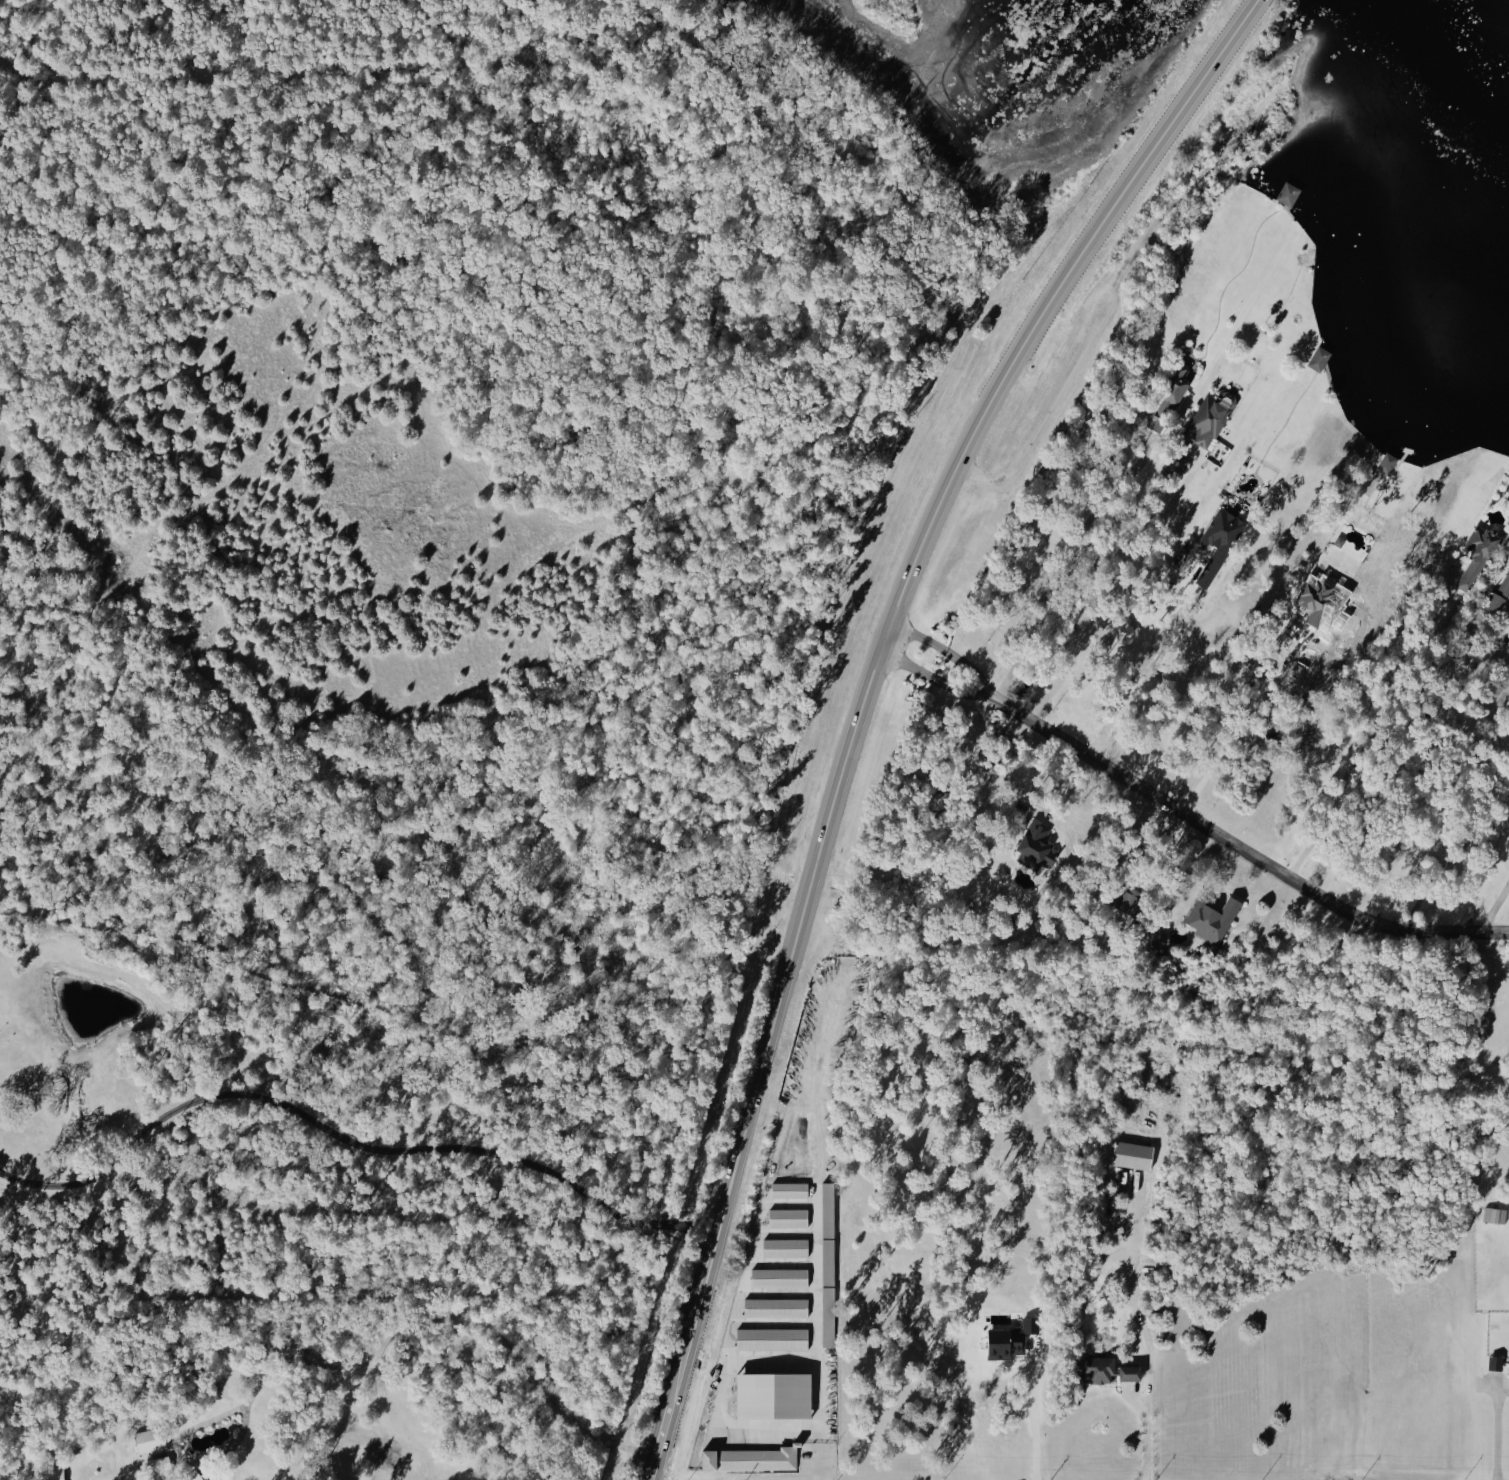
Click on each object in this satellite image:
building: (1291, 193)
building: (1321, 357)
building: (1181, 381)
building: (1209, 421)
building: (1389, 462)
building: (1221, 542)
building: (1508, 549)
building: (1481, 554)
road: (1067, 565)
road: (1103, 590)
building: (1501, 596)
building: (1318, 598)
road: (468, 613)
road: (1148, 666)
road: (860, 700)
road: (1243, 727)
road: (1376, 727)
road: (1411, 742)
road: (1444, 805)
road: (1185, 815)
building: (1039, 846)
road: (1457, 852)
road: (1495, 907)
building: (1215, 919)
road: (346, 1138)
building: (1137, 1155)
building: (786, 1190)
building: (1496, 1214)
building: (785, 1218)
building: (782, 1248)
building: (830, 1264)
building: (776, 1278)
building: (772, 1308)
building: (774, 1338)
building: (1013, 1340)
road: (365, 1358)
road: (727, 1366)
building: (1104, 1370)
building: (1134, 1373)
building: (778, 1396)
road: (1034, 1420)
road: (1494, 1431)
road: (1149, 1439)
building: (152, 1440)
road: (820, 1453)
building: (753, 1459)
building: (195, 1476)

